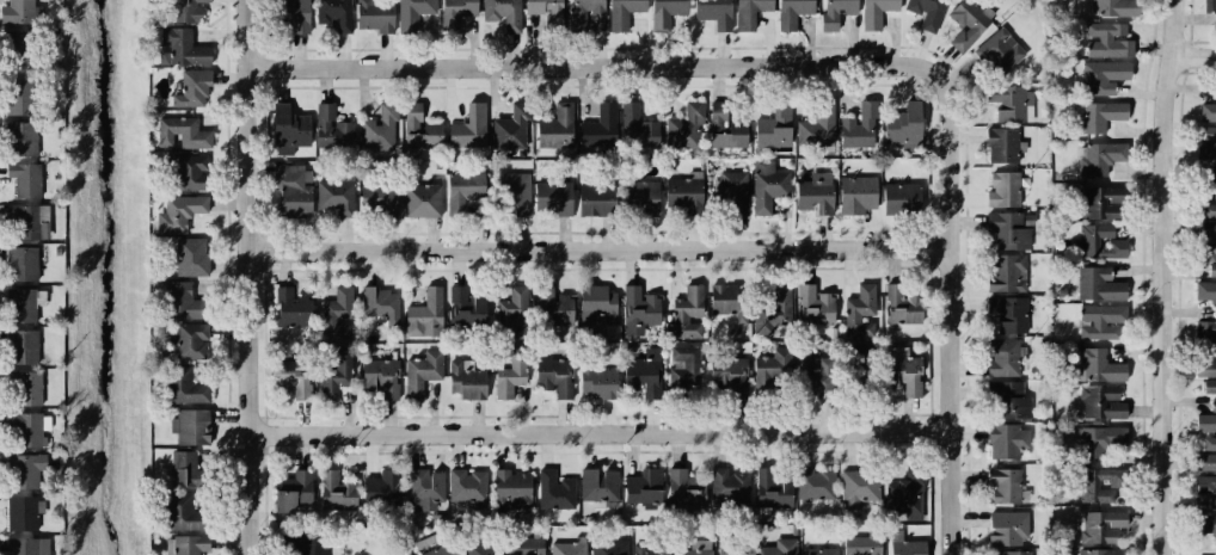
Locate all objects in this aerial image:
building: (1209, 6)
building: (1114, 7)
building: (14, 8)
building: (177, 8)
building: (581, 8)
building: (453, 10)
building: (921, 10)
building: (539, 11)
building: (707, 12)
building: (328, 13)
building: (412, 13)
building: (788, 13)
building: (835, 13)
building: (290, 14)
building: (371, 14)
building: (621, 14)
building: (662, 14)
building: (874, 14)
building: (497, 16)
building: (750, 16)
building: (964, 23)
road: (1177, 26)
building: (1105, 38)
building: (22, 45)
building: (178, 47)
building: (1000, 51)
road: (1196, 53)
road: (585, 61)
building: (1104, 75)
building: (195, 87)
building: (23, 92)
building: (1006, 101)
building: (1208, 110)
building: (1094, 116)
building: (622, 119)
building: (465, 121)
building: (855, 121)
building: (681, 122)
building: (899, 125)
building: (600, 127)
building: (817, 127)
building: (285, 128)
building: (332, 128)
building: (774, 129)
building: (724, 131)
building: (503, 132)
building: (183, 134)
building: (555, 135)
building: (418, 136)
building: (369, 138)
building: (22, 141)
building: (1206, 142)
building: (996, 144)
building: (1105, 159)
building: (185, 175)
building: (24, 183)
building: (1206, 184)
building: (770, 185)
building: (456, 189)
building: (997, 189)
building: (680, 190)
building: (730, 191)
building: (812, 193)
building: (855, 193)
building: (512, 195)
building: (289, 196)
building: (333, 196)
building: (554, 196)
building: (901, 197)
building: (638, 198)
building: (1104, 199)
building: (420, 201)
building: (379, 202)
building: (591, 202)
building: (179, 212)
building: (27, 221)
building: (1205, 222)
building: (1003, 230)
building: (1100, 241)
road: (602, 247)
building: (191, 257)
building: (1209, 257)
building: (23, 263)
building: (1006, 270)
road: (246, 277)
building: (1103, 284)
building: (1206, 290)
building: (723, 297)
road: (959, 300)
building: (184, 301)
building: (637, 301)
building: (24, 303)
building: (859, 303)
building: (901, 303)
road: (1167, 303)
building: (595, 304)
building: (772, 304)
building: (812, 304)
building: (290, 306)
building: (683, 308)
building: (379, 312)
building: (466, 312)
building: (553, 313)
building: (336, 314)
building: (509, 314)
building: (1008, 315)
building: (422, 316)
building: (1104, 323)
building: (1208, 335)
building: (24, 346)
building: (188, 349)
building: (1003, 353)
building: (681, 364)
building: (862, 364)
building: (1100, 364)
building: (738, 368)
building: (772, 369)
building: (807, 372)
building: (899, 374)
building: (1206, 374)
building: (288, 375)
building: (333, 375)
building: (420, 375)
building: (549, 375)
building: (635, 375)
building: (377, 380)
building: (466, 381)
building: (504, 383)
building: (597, 383)
building: (189, 388)
building: (26, 389)
building: (1006, 396)
building: (1098, 402)
building: (1206, 418)
building: (190, 427)
building: (29, 430)
road: (603, 430)
building: (1006, 440)
building: (1100, 442)
building: (1206, 454)
building: (185, 468)
building: (25, 469)
building: (643, 480)
building: (677, 481)
building: (772, 481)
building: (815, 481)
building: (727, 483)
building: (1007, 483)
building: (854, 485)
building: (1095, 485)
building: (510, 486)
building: (332, 487)
building: (465, 487)
building: (553, 488)
building: (288, 489)
building: (374, 489)
building: (413, 491)
building: (1205, 491)
building: (902, 492)
building: (596, 494)
building: (184, 510)
building: (23, 512)
building: (1205, 522)
building: (1006, 524)
building: (1107, 525)
building: (303, 542)
building: (1215, 542)
building: (780, 544)
building: (861, 544)
building: (902, 544)
building: (24, 545)
building: (608, 547)
building: (479, 548)
building: (523, 548)
building: (565, 548)
building: (649, 548)
building: (731, 548)
building: (817, 548)
building: (186, 549)
building: (687, 550)
building: (437, 551)
building: (1009, 551)
building: (1101, 551)
building: (393, 554)

